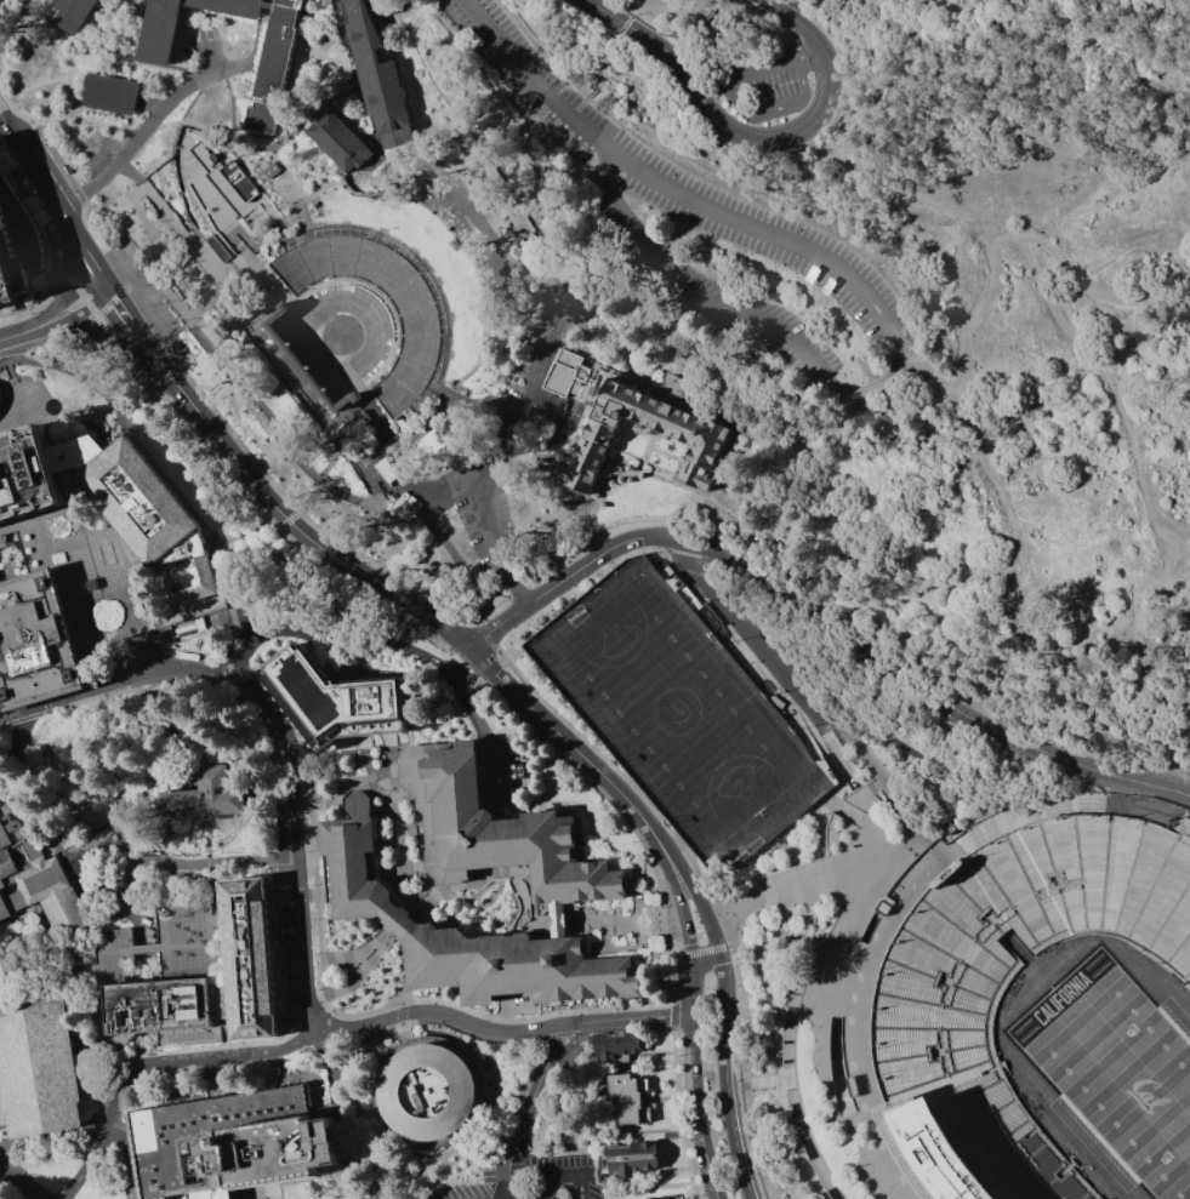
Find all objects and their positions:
road: (359, 10)
building: (73, 13)
road: (649, 25)
parking lot: (198, 41)
road: (255, 45)
road: (807, 53)
road: (476, 59)
road: (710, 65)
road: (69, 70)
road: (223, 72)
road: (5, 74)
building: (378, 78)
parking lot: (763, 81)
road: (70, 82)
road: (534, 82)
road: (358, 87)
building: (109, 92)
building: (267, 98)
road: (2, 101)
road: (577, 107)
road: (744, 108)
road: (540, 112)
road: (455, 114)
road: (309, 119)
road: (237, 124)
road: (140, 133)
building: (338, 139)
road: (752, 141)
road: (564, 147)
road: (175, 152)
road: (229, 155)
road: (237, 155)
road: (29, 159)
road: (213, 165)
building: (271, 170)
road: (130, 171)
building: (228, 181)
road: (314, 190)
road: (135, 193)
road: (207, 194)
road: (386, 194)
road: (537, 198)
road: (246, 205)
parking lot: (683, 210)
road: (227, 211)
road: (300, 215)
road: (303, 215)
road: (205, 218)
road: (275, 221)
road: (235, 228)
road: (308, 232)
road: (232, 233)
road: (1000, 234)
road: (302, 238)
road: (87, 239)
road: (250, 241)
road: (50, 245)
road: (68, 245)
building: (17, 246)
building: (216, 249)
road: (244, 255)
road: (484, 267)
road: (423, 268)
road: (57, 269)
road: (156, 280)
road: (102, 281)
road: (354, 281)
road: (107, 290)
road: (96, 291)
road: (32, 297)
road: (124, 297)
road: (64, 298)
road: (112, 301)
road: (1052, 301)
road: (86, 302)
building: (246, 310)
road: (74, 312)
road: (113, 315)
building: (364, 319)
road: (86, 322)
road: (24, 332)
road: (92, 333)
road: (153, 342)
road: (622, 347)
road: (143, 354)
road: (70, 372)
road: (164, 379)
road: (633, 381)
road: (883, 386)
road: (438, 390)
road: (429, 396)
road: (451, 396)
road: (212, 407)
road: (19, 411)
building: (670, 419)
road: (275, 428)
road: (72, 429)
road: (387, 429)
building: (345, 430)
road: (558, 435)
parking lot: (503, 440)
road: (496, 445)
road: (650, 445)
road: (552, 447)
road: (80, 450)
building: (75, 452)
road: (666, 453)
road: (326, 455)
road: (217, 459)
road: (394, 461)
road: (374, 463)
road: (986, 470)
building: (27, 479)
road: (382, 480)
road: (599, 480)
road: (409, 481)
road: (445, 487)
road: (173, 490)
road: (1149, 495)
road: (302, 508)
building: (150, 520)
road: (286, 520)
road: (301, 531)
road: (611, 531)
road: (80, 536)
road: (582, 539)
road: (221, 542)
road: (647, 550)
road: (0, 552)
road: (593, 559)
road: (5, 567)
road: (222, 588)
road: (518, 592)
road: (579, 601)
road: (1177, 605)
road: (156, 615)
road: (444, 626)
road: (497, 627)
road: (1138, 628)
road: (332, 630)
road: (750, 630)
road: (485, 635)
road: (27, 639)
building: (35, 643)
parking lot: (762, 647)
road: (143, 651)
road: (449, 651)
road: (882, 655)
road: (463, 662)
road: (484, 662)
road: (461, 663)
road: (756, 664)
road: (226, 667)
road: (113, 676)
building: (334, 701)
road: (825, 702)
road: (152, 713)
road: (472, 713)
park: (678, 713)
building: (679, 713)
parking garage: (679, 713)
road: (438, 723)
road: (28, 730)
road: (300, 731)
road: (830, 741)
road: (387, 750)
road: (580, 753)
road: (366, 756)
road: (387, 756)
road: (138, 761)
road: (938, 763)
road: (24, 772)
road: (621, 776)
road: (12, 777)
road: (1094, 777)
road: (376, 778)
road: (877, 782)
road: (882, 782)
road: (1144, 782)
road: (590, 783)
building: (211, 794)
road: (1054, 803)
road: (306, 804)
road: (870, 806)
road: (1025, 810)
road: (1148, 810)
road: (159, 820)
road: (250, 822)
road: (49, 828)
building: (496, 830)
road: (878, 834)
road: (940, 835)
road: (207, 839)
road: (673, 843)
road: (295, 845)
road: (383, 845)
building: (97, 846)
road: (952, 851)
road: (773, 852)
road: (421, 856)
road: (875, 860)
road: (178, 864)
building: (35, 880)
road: (513, 881)
road: (831, 881)
building: (793, 884)
road: (808, 885)
road: (784, 890)
road: (308, 892)
road: (810, 892)
road: (287, 895)
road: (785, 898)
road: (92, 901)
road: (318, 901)
road: (417, 902)
building: (883, 906)
road: (848, 908)
road: (733, 915)
road: (591, 919)
building: (557, 920)
road: (397, 923)
road: (95, 925)
road: (496, 926)
building: (465, 935)
road: (787, 940)
road: (372, 944)
road: (376, 947)
road: (378, 949)
road: (705, 952)
road: (355, 954)
road: (34, 958)
building: (250, 959)
road: (331, 959)
road: (359, 960)
road: (707, 960)
road: (364, 966)
road: (345, 969)
road: (366, 969)
road: (856, 969)
building: (166, 974)
road: (832, 974)
building: (826, 976)
road: (383, 986)
road: (336, 988)
road: (403, 997)
building: (941, 999)
road: (309, 1009)
road: (581, 1010)
road: (674, 1012)
road: (779, 1014)
road: (359, 1015)
road: (399, 1015)
road: (284, 1016)
road: (292, 1016)
stadium: (1047, 1016)
road: (742, 1017)
road: (87, 1020)
road: (392, 1027)
road: (790, 1027)
road: (722, 1028)
road: (506, 1030)
road: (696, 1033)
road: (403, 1034)
road: (534, 1035)
road: (148, 1044)
road: (452, 1046)
building: (620, 1047)
road: (352, 1057)
road: (824, 1058)
road: (149, 1062)
road: (203, 1063)
park: (1117, 1068)
building: (38, 1069)
road: (790, 1072)
road: (787, 1077)
road: (212, 1081)
road: (791, 1081)
road: (536, 1087)
building: (428, 1091)
building: (632, 1097)
road: (681, 1113)
road: (359, 1114)
road: (854, 1125)
road: (753, 1141)
road: (796, 1141)
building: (232, 1144)
road: (809, 1146)
road: (124, 1159)
building: (633, 1159)
road: (889, 1159)
road: (87, 1160)
road: (483, 1160)
road: (427, 1165)
road: (336, 1166)
road: (363, 1166)
road: (5, 1172)
road: (565, 1175)
road: (514, 1177)
parking lot: (526, 1180)
road: (21, 1181)
road: (304, 1183)
road: (269, 1193)
building: (664, 1198)
building: (668, 1198)

